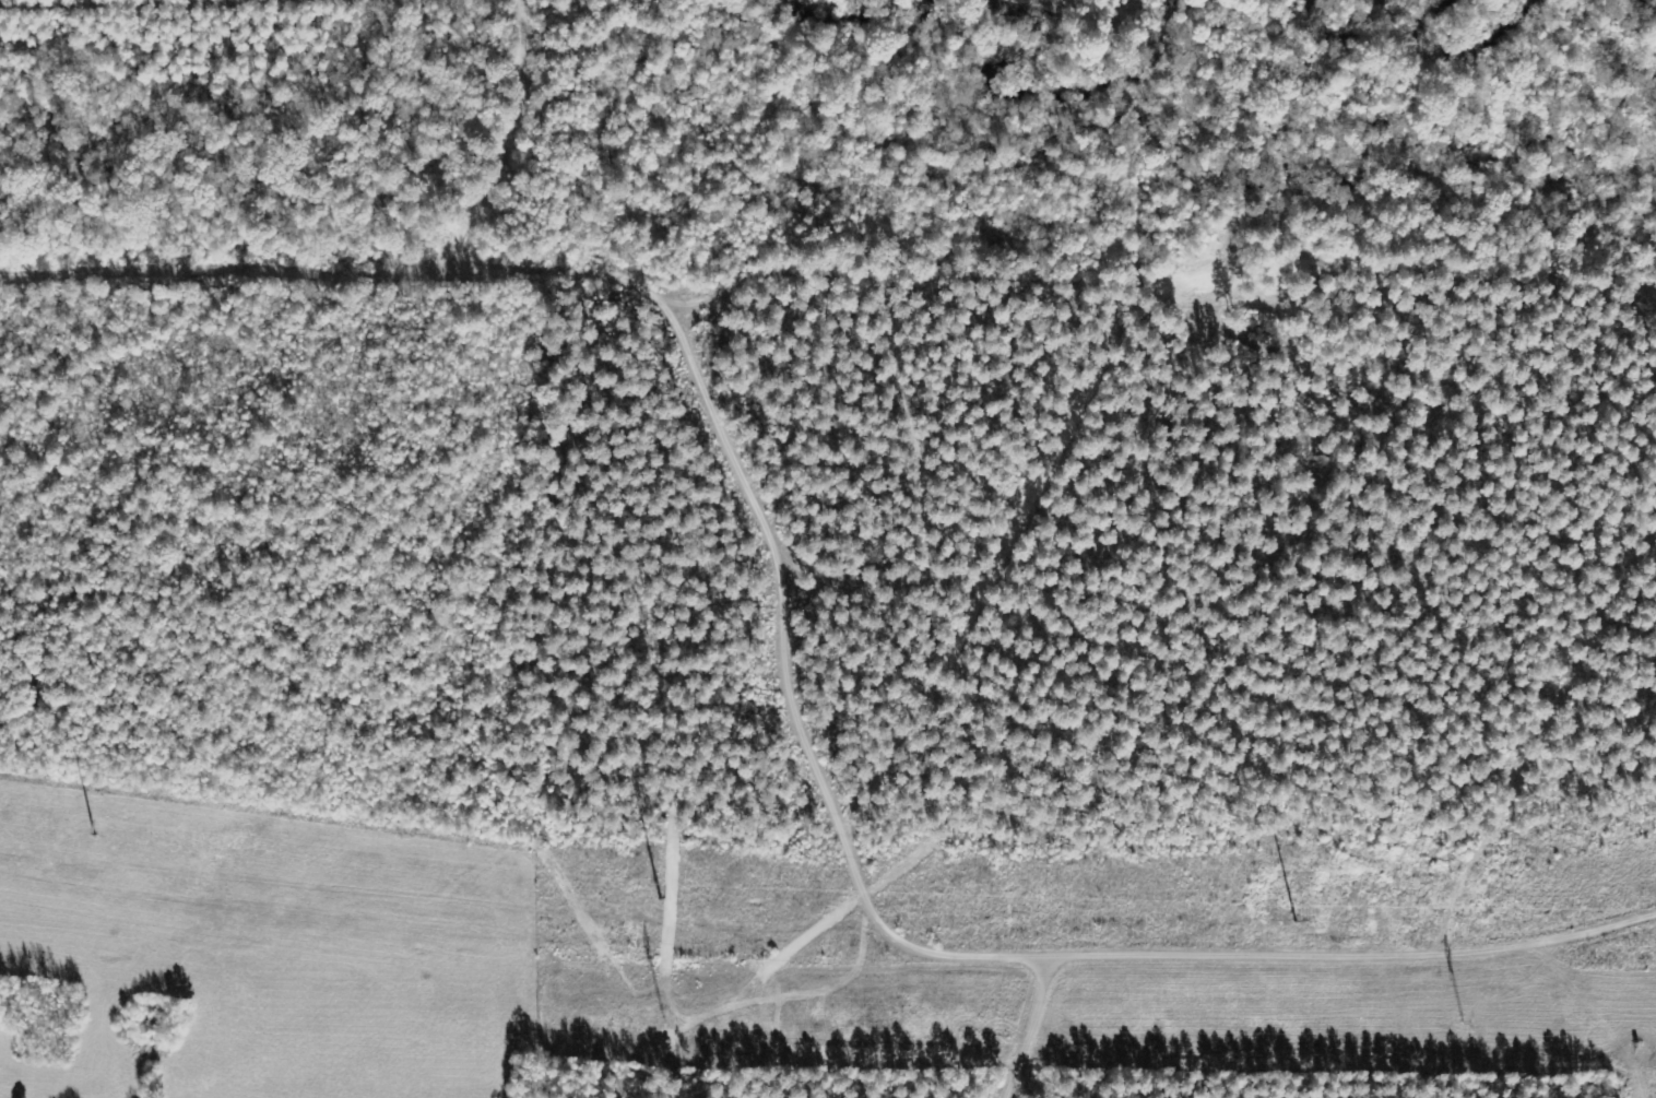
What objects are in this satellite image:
power tower: (660, 1012)
power tower: (1460, 1018)

